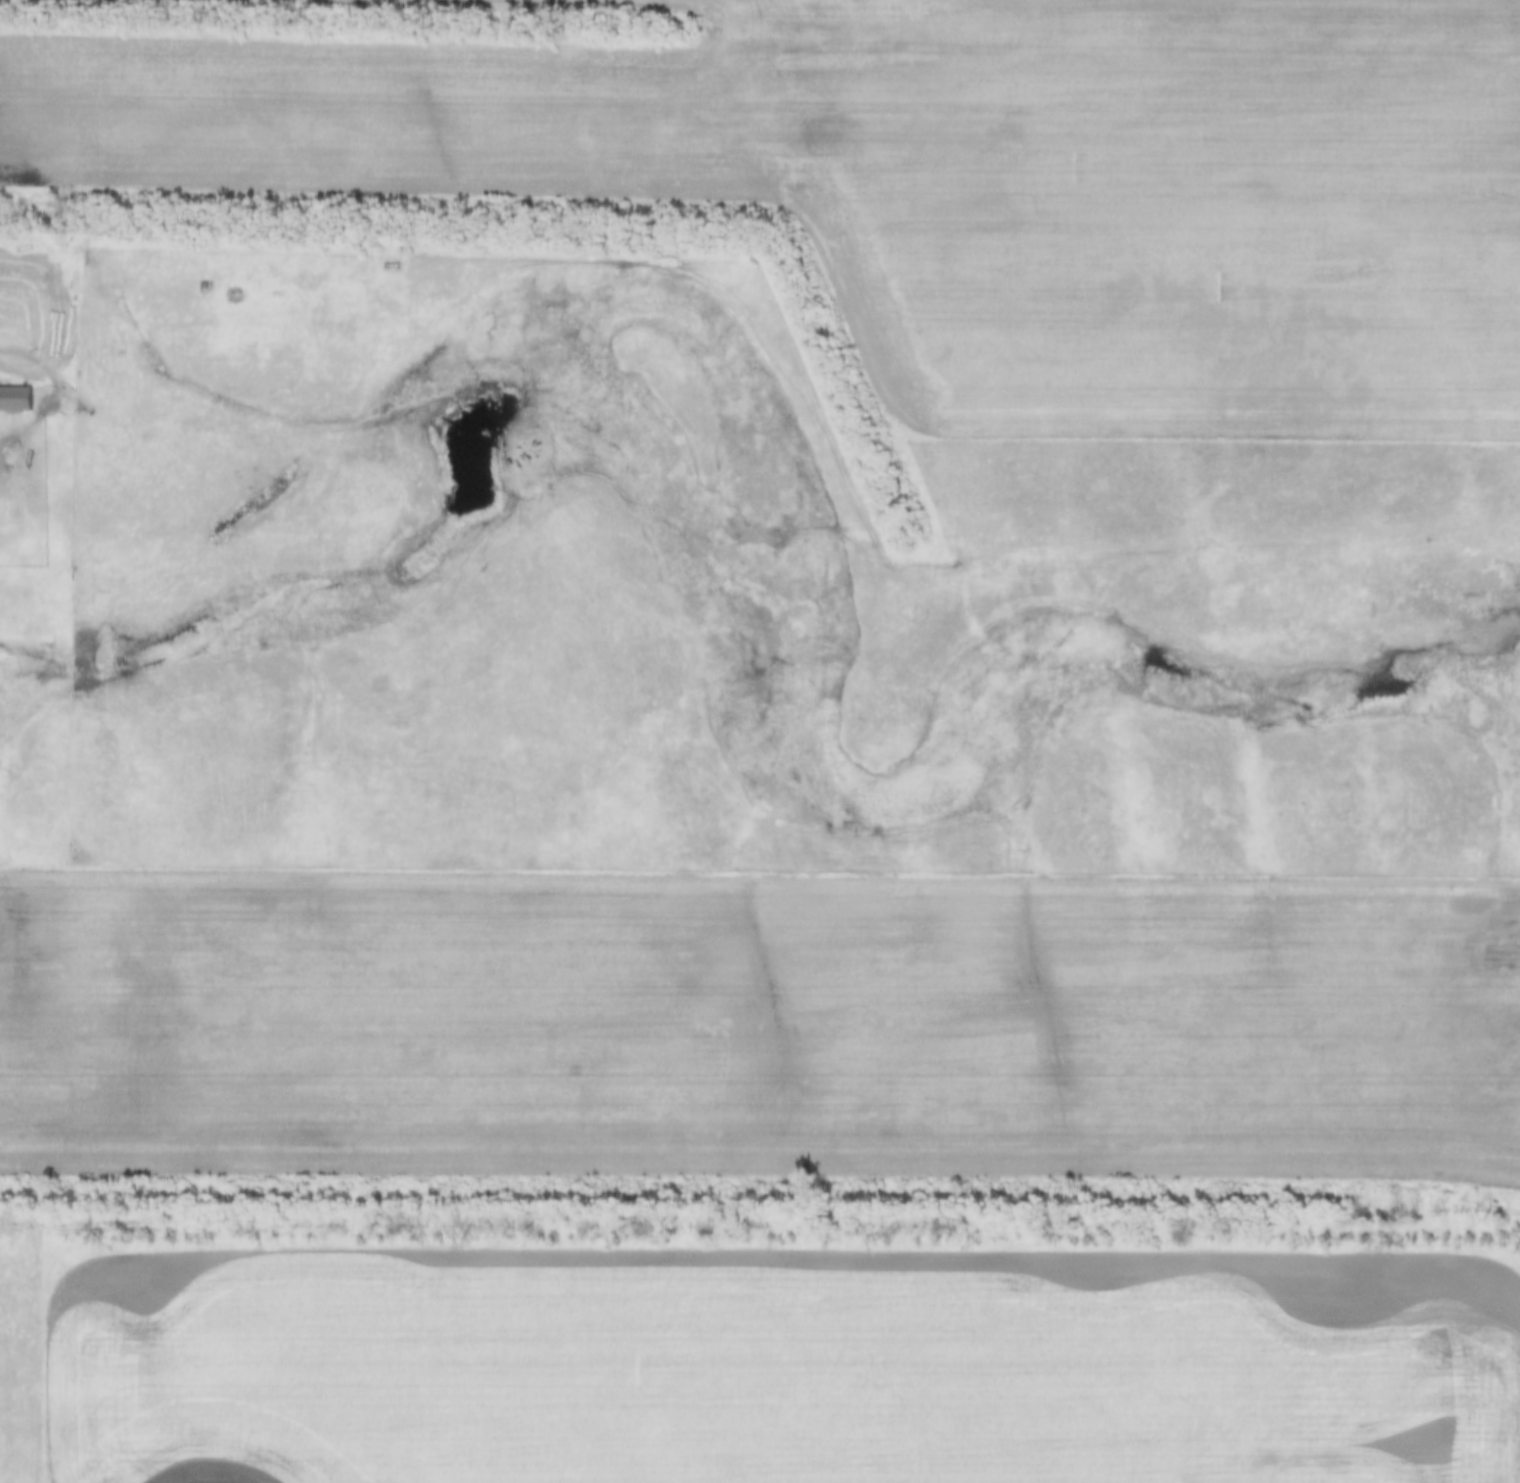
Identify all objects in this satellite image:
road: (66, 385)
building: (14, 398)

